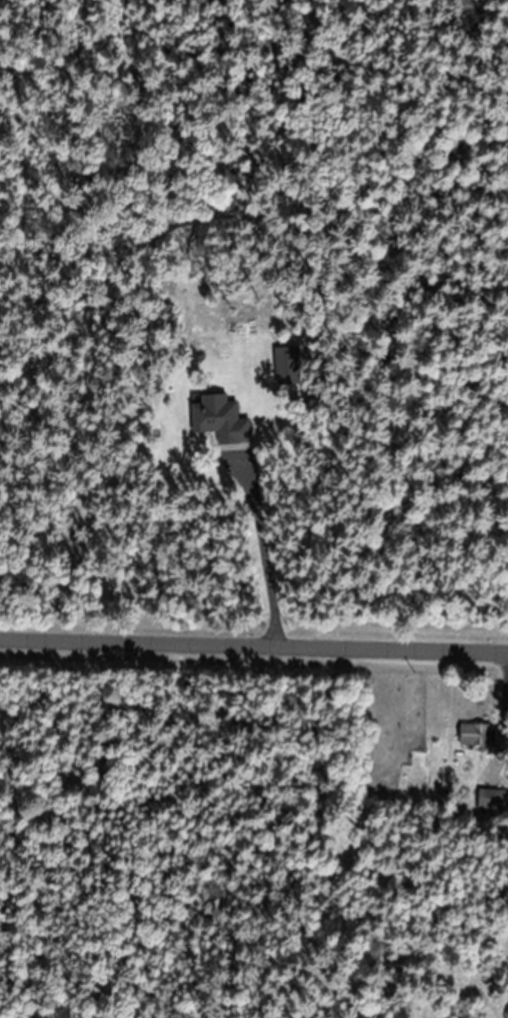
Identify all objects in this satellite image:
building: (286, 365)
building: (218, 420)
road: (254, 634)
building: (474, 736)
building: (491, 800)

